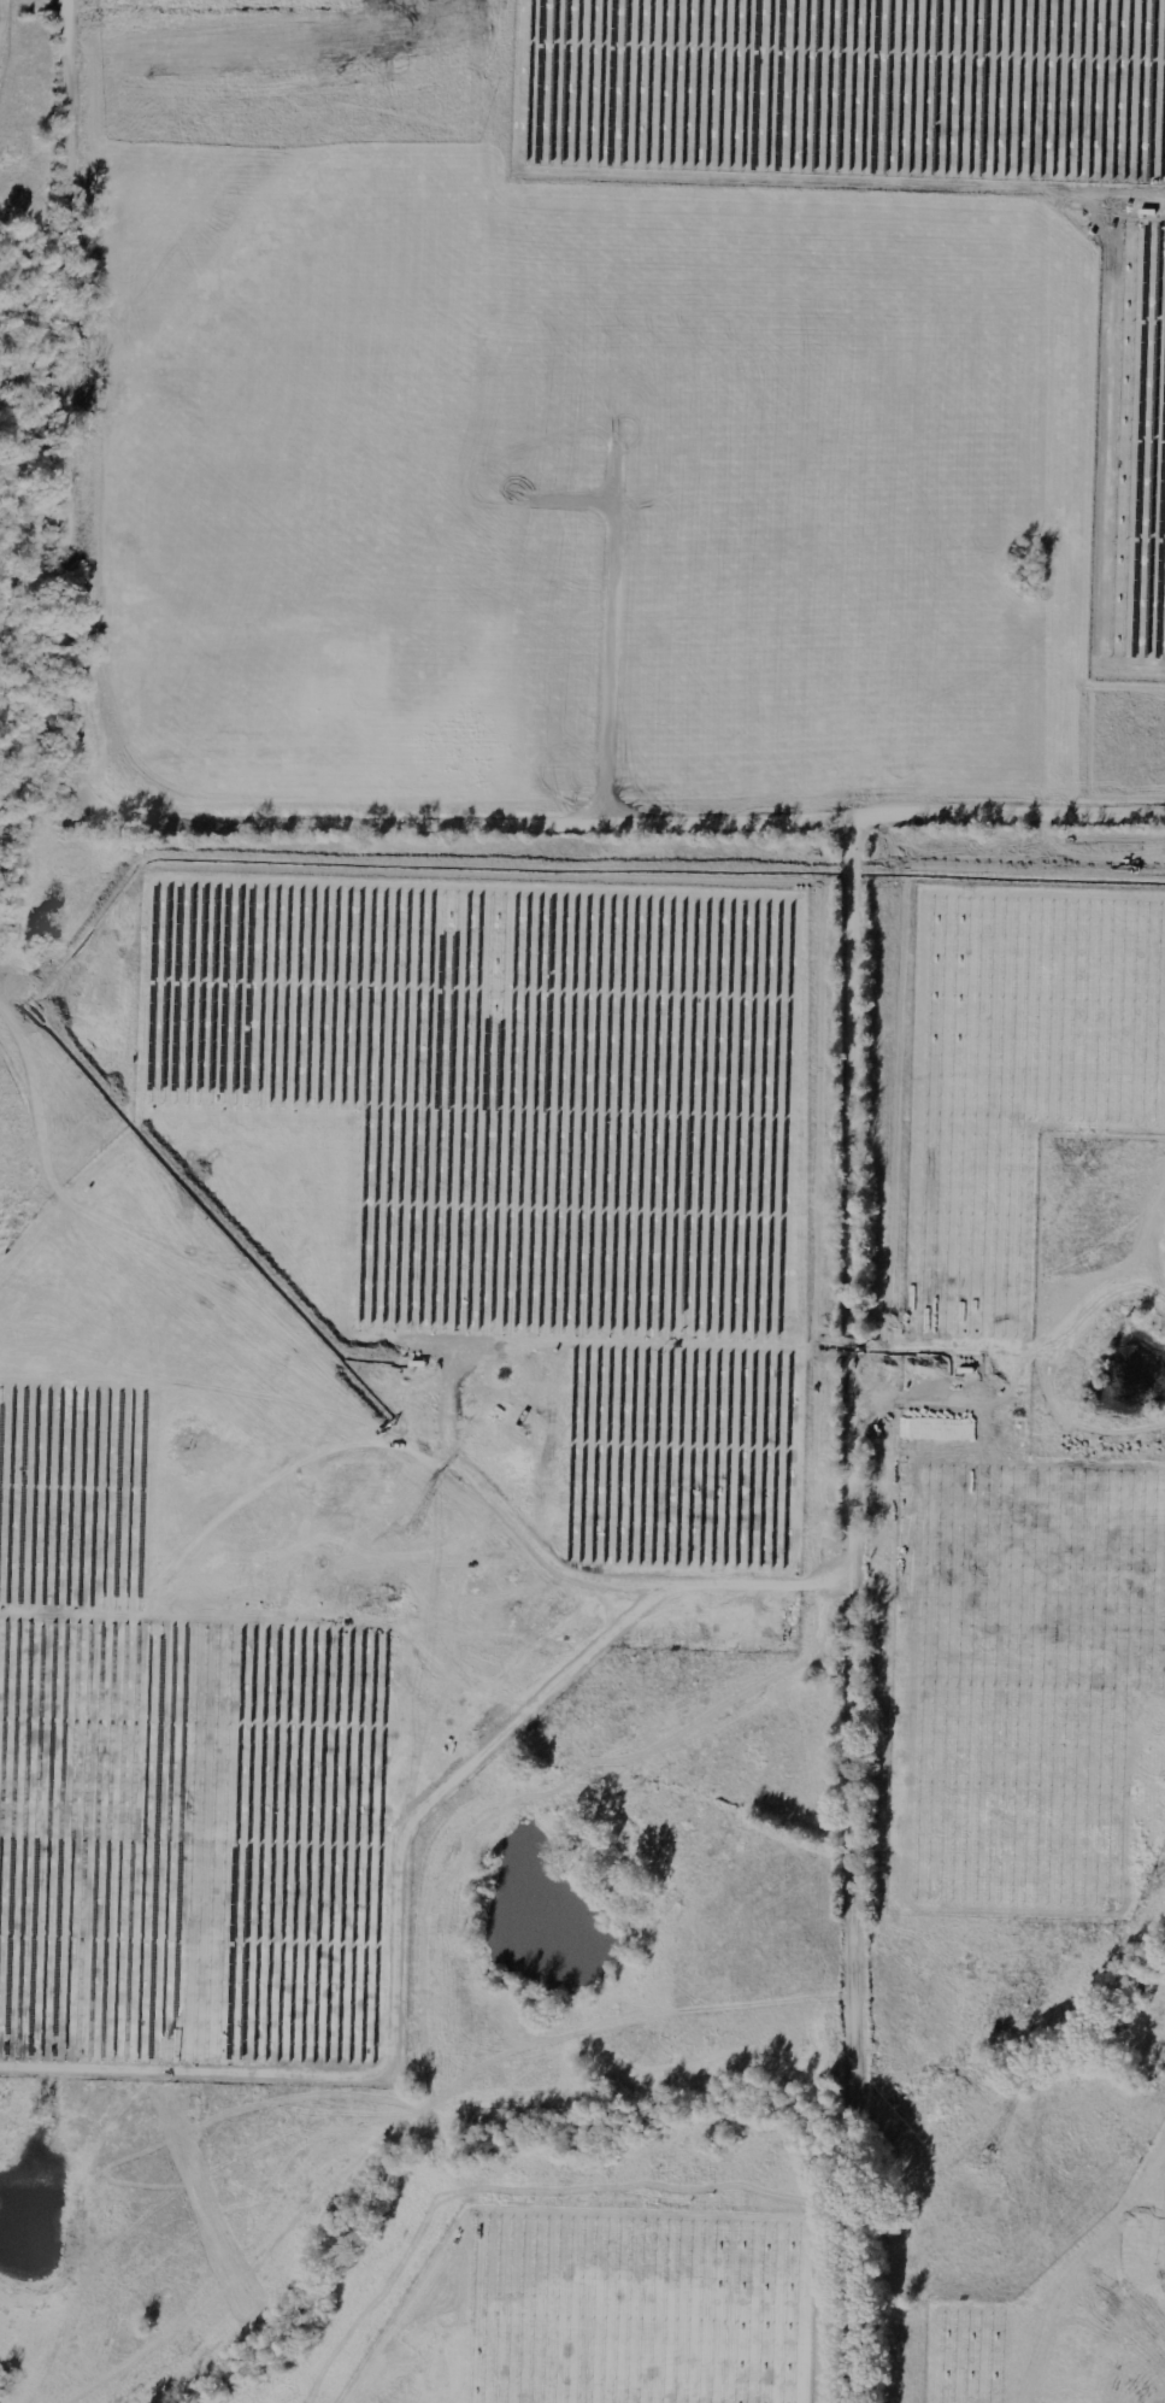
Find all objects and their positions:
solar farm: (6, 35)
solar farm: (905, 170)
road: (104, 804)
solar farm: (375, 1422)
solar farm: (1018, 1428)
road: (865, 1467)
power tower: (417, 1528)
power tower: (984, 2157)
solar farm: (604, 2309)
solar farm: (1067, 2317)

